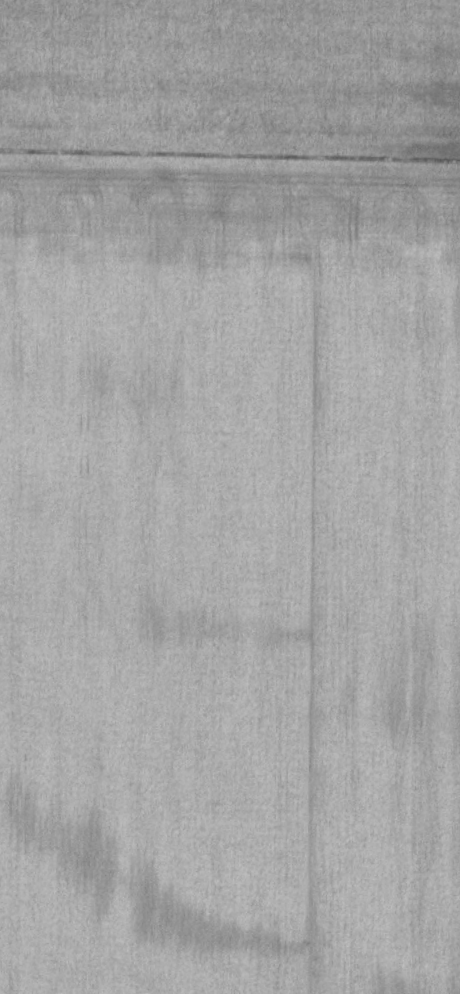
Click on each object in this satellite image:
road: (194, 169)

